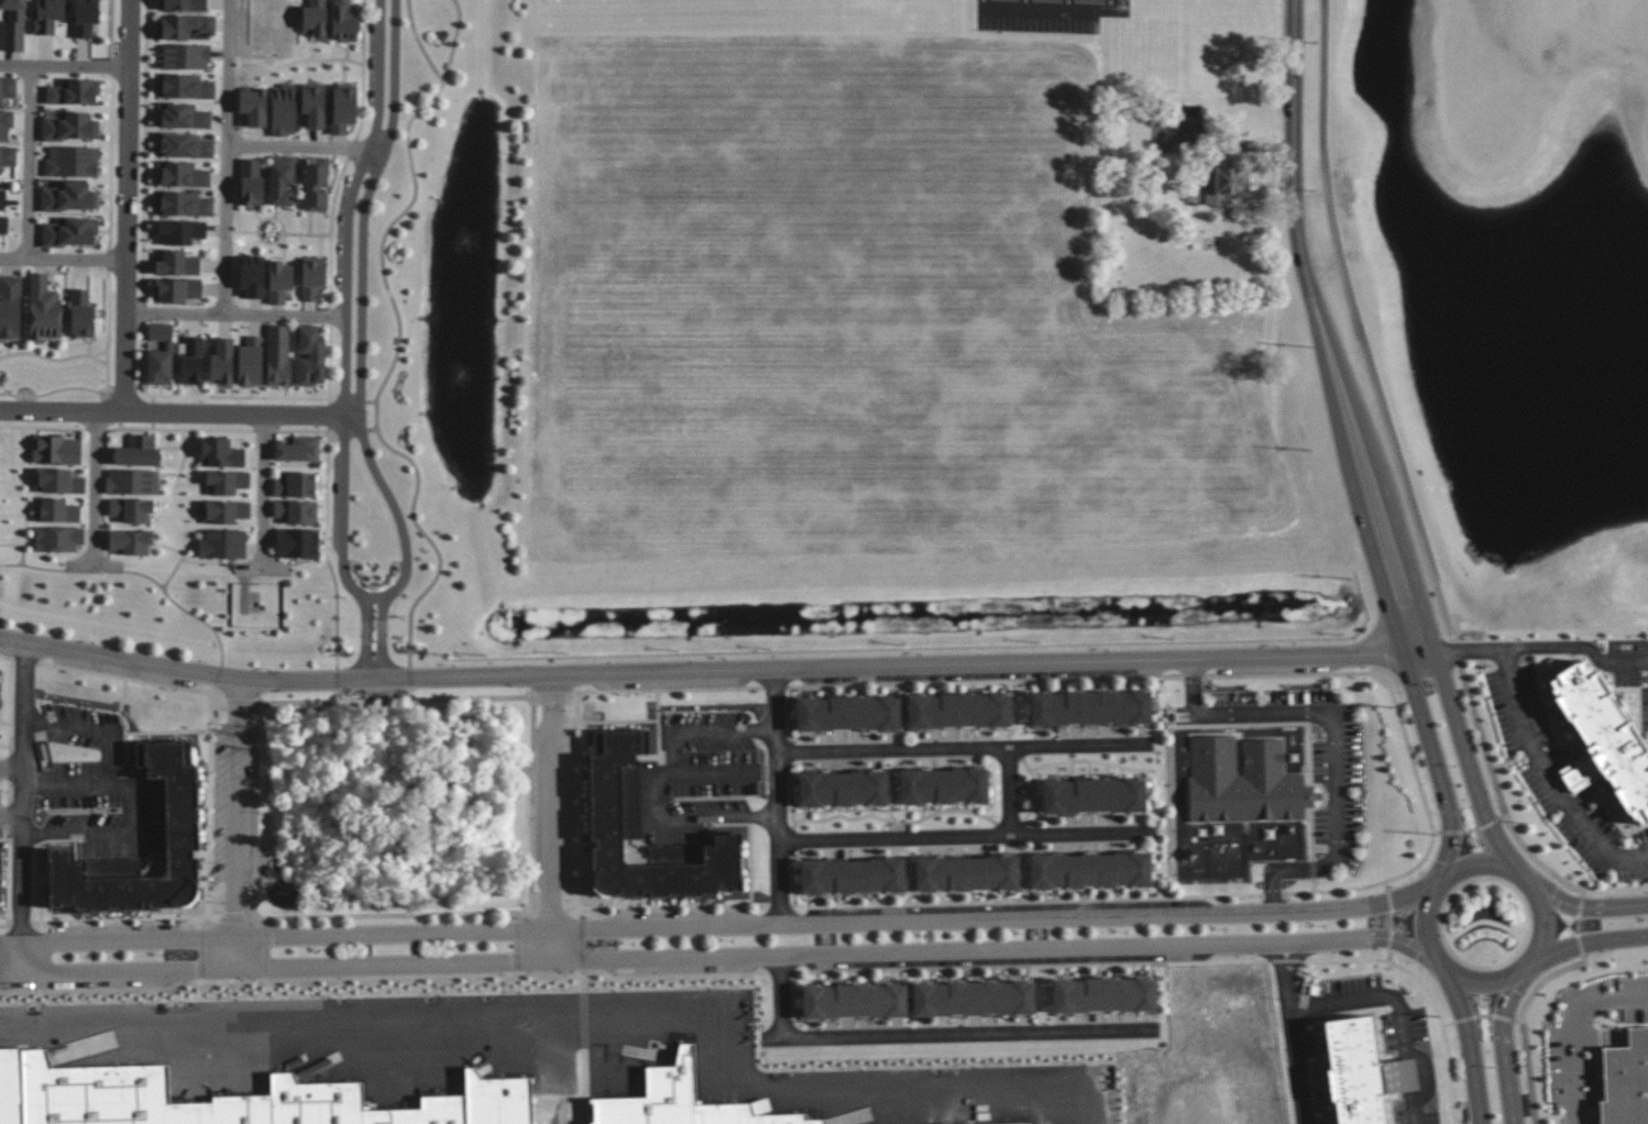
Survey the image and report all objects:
road: (982, 2)
building: (183, 3)
road: (1112, 3)
road: (1068, 4)
road: (1047, 10)
building: (50, 15)
building: (85, 15)
parking lot: (1053, 15)
building: (315, 18)
building: (345, 20)
road: (146, 21)
building: (14, 24)
building: (185, 26)
road: (113, 29)
road: (419, 44)
building: (188, 54)
road: (345, 59)
parking lot: (373, 64)
road: (65, 67)
road: (113, 67)
road: (362, 71)
building: (190, 84)
building: (11, 89)
building: (77, 90)
building: (314, 104)
building: (253, 106)
building: (284, 110)
building: (343, 110)
building: (188, 114)
building: (10, 124)
building: (70, 126)
road: (1226, 141)
building: (188, 144)
road: (305, 146)
road: (352, 151)
building: (10, 156)
road: (227, 157)
building: (73, 162)
road: (30, 163)
road: (112, 164)
building: (186, 174)
road: (144, 175)
building: (253, 180)
building: (284, 180)
building: (312, 184)
building: (1227, 185)
building: (69, 197)
building: (1, 198)
building: (186, 201)
road: (128, 206)
road: (273, 218)
building: (3, 228)
building: (183, 231)
building: (75, 232)
road: (224, 232)
road: (244, 232)
road: (332, 232)
parking lot: (342, 234)
road: (307, 235)
fountain: (444, 246)
road: (64, 258)
road: (110, 258)
building: (178, 261)
building: (254, 274)
building: (312, 279)
building: (279, 282)
building: (179, 294)
building: (13, 306)
building: (44, 308)
building: (83, 315)
road: (144, 315)
road: (237, 316)
road: (330, 317)
road: (1322, 331)
road: (108, 335)
road: (399, 338)
road: (344, 341)
road: (360, 345)
building: (160, 354)
building: (278, 357)
building: (253, 359)
building: (310, 359)
road: (53, 360)
road: (99, 361)
building: (193, 361)
road: (141, 363)
building: (222, 363)
road: (329, 364)
road: (138, 388)
road: (111, 389)
road: (123, 389)
road: (50, 393)
road: (109, 394)
road: (333, 394)
road: (102, 398)
road: (240, 398)
road: (154, 399)
road: (351, 399)
road: (371, 401)
road: (116, 408)
fountain: (444, 410)
road: (1384, 411)
road: (153, 412)
road: (179, 412)
road: (103, 415)
road: (329, 418)
road: (120, 426)
road: (153, 427)
road: (43, 428)
road: (96, 429)
road: (178, 430)
road: (372, 430)
road: (263, 431)
road: (300, 432)
road: (347, 432)
building: (57, 449)
road: (186, 449)
building: (221, 449)
building: (299, 450)
road: (6, 452)
building: (138, 452)
building: (58, 481)
building: (132, 482)
building: (227, 482)
building: (296, 485)
road: (96, 488)
road: (264, 492)
road: (21, 495)
parking lot: (338, 500)
building: (56, 510)
building: (224, 511)
building: (298, 511)
building: (58, 538)
building: (134, 538)
building: (296, 539)
building: (224, 542)
road: (327, 551)
road: (95, 565)
road: (35, 567)
road: (264, 571)
road: (171, 575)
road: (373, 595)
road: (180, 607)
parking lot: (1, 644)
road: (1464, 652)
road: (1581, 652)
parking lot: (1273, 664)
road: (707, 670)
parking lot: (974, 672)
road: (410, 677)
road: (114, 679)
road: (338, 679)
parking lot: (669, 679)
road: (1196, 679)
road: (216, 682)
road: (988, 683)
road: (777, 690)
road: (666, 692)
road: (410, 694)
road: (338, 695)
road: (552, 695)
road: (535, 697)
road: (387, 701)
road: (240, 703)
building: (1090, 707)
road: (1017, 708)
road: (11, 709)
building: (957, 710)
building: (846, 714)
road: (618, 721)
road: (143, 731)
road: (659, 734)
road: (394, 739)
road: (1337, 739)
building: (1603, 743)
road: (966, 749)
road: (1408, 752)
road: (128, 756)
road: (900, 758)
road: (1091, 761)
road: (1468, 762)
road: (479, 763)
road: (1436, 765)
road: (12, 769)
road: (1580, 774)
road: (657, 780)
road: (1550, 780)
road: (68, 785)
road: (128, 785)
building: (839, 786)
building: (943, 786)
road: (1033, 790)
building: (1252, 790)
road: (1011, 791)
building: (1092, 795)
road: (779, 796)
building: (609, 797)
road: (576, 803)
parking lot: (234, 804)
park: (395, 805)
road: (23, 807)
building: (169, 807)
parking lot: (556, 812)
road: (11, 814)
road: (841, 814)
road: (551, 817)
road: (237, 823)
road: (908, 823)
road: (1492, 824)
road: (1470, 831)
road: (1447, 834)
road: (749, 836)
road: (971, 836)
road: (345, 846)
road: (1537, 859)
road: (739, 861)
building: (0, 866)
building: (1090, 869)
building: (965, 873)
building: (849, 877)
road: (9, 882)
road: (1388, 885)
road: (1276, 894)
road: (1031, 900)
road: (1391, 901)
road: (1581, 903)
road: (780, 906)
road: (1584, 907)
road: (664, 908)
road: (535, 910)
parking lot: (1006, 911)
road: (552, 912)
road: (396, 915)
road: (251, 916)
road: (518, 917)
road: (234, 919)
parking lot: (682, 919)
road: (1392, 921)
road: (266, 923)
road: (1578, 925)
road: (721, 926)
road: (184, 928)
parking lot: (111, 934)
road: (1389, 938)
road: (1587, 941)
road: (518, 947)
road: (1580, 947)
road: (266, 952)
road: (1387, 955)
road: (724, 957)
parking lot: (1001, 957)
road: (1321, 960)
parking lot: (685, 965)
road: (1510, 976)
road: (1287, 978)
parking lot: (83, 980)
road: (1542, 981)
building: (1106, 994)
building: (971, 996)
road: (782, 998)
building: (852, 1001)
road: (1402, 1009)
road: (598, 1017)
road: (1484, 1017)
road: (1464, 1018)
road: (1503, 1018)
road: (1518, 1021)
road: (1448, 1024)
road: (1442, 1029)
road: (1568, 1031)
road: (962, 1034)
road: (1504, 1045)
road: (1471, 1046)
road: (1298, 1069)
building: (1362, 1069)
road: (1528, 1072)
road: (1428, 1076)
building: (1625, 1080)
building: (25, 1084)
building: (116, 1093)
building: (679, 1097)
building: (518, 1100)
building: (337, 1102)
building: (245, 1111)
building: (463, 1111)
building: (736, 1115)
building: (781, 1115)
building: (414, 1117)
building: (834, 1123)

